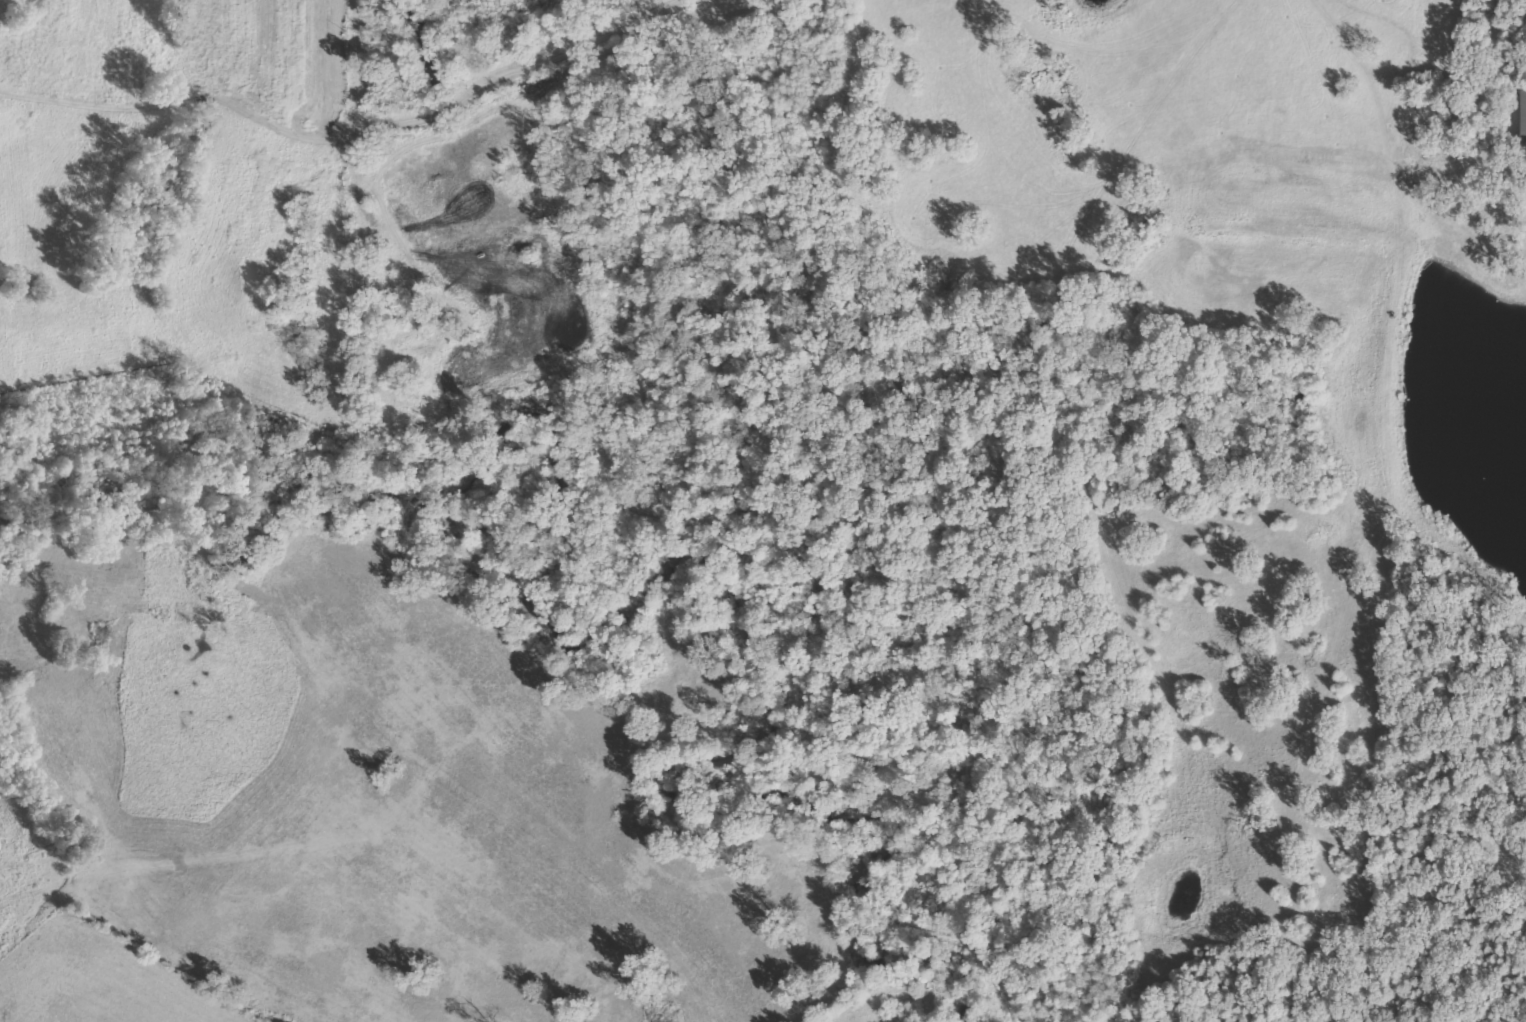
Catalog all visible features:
road: (609, 556)

